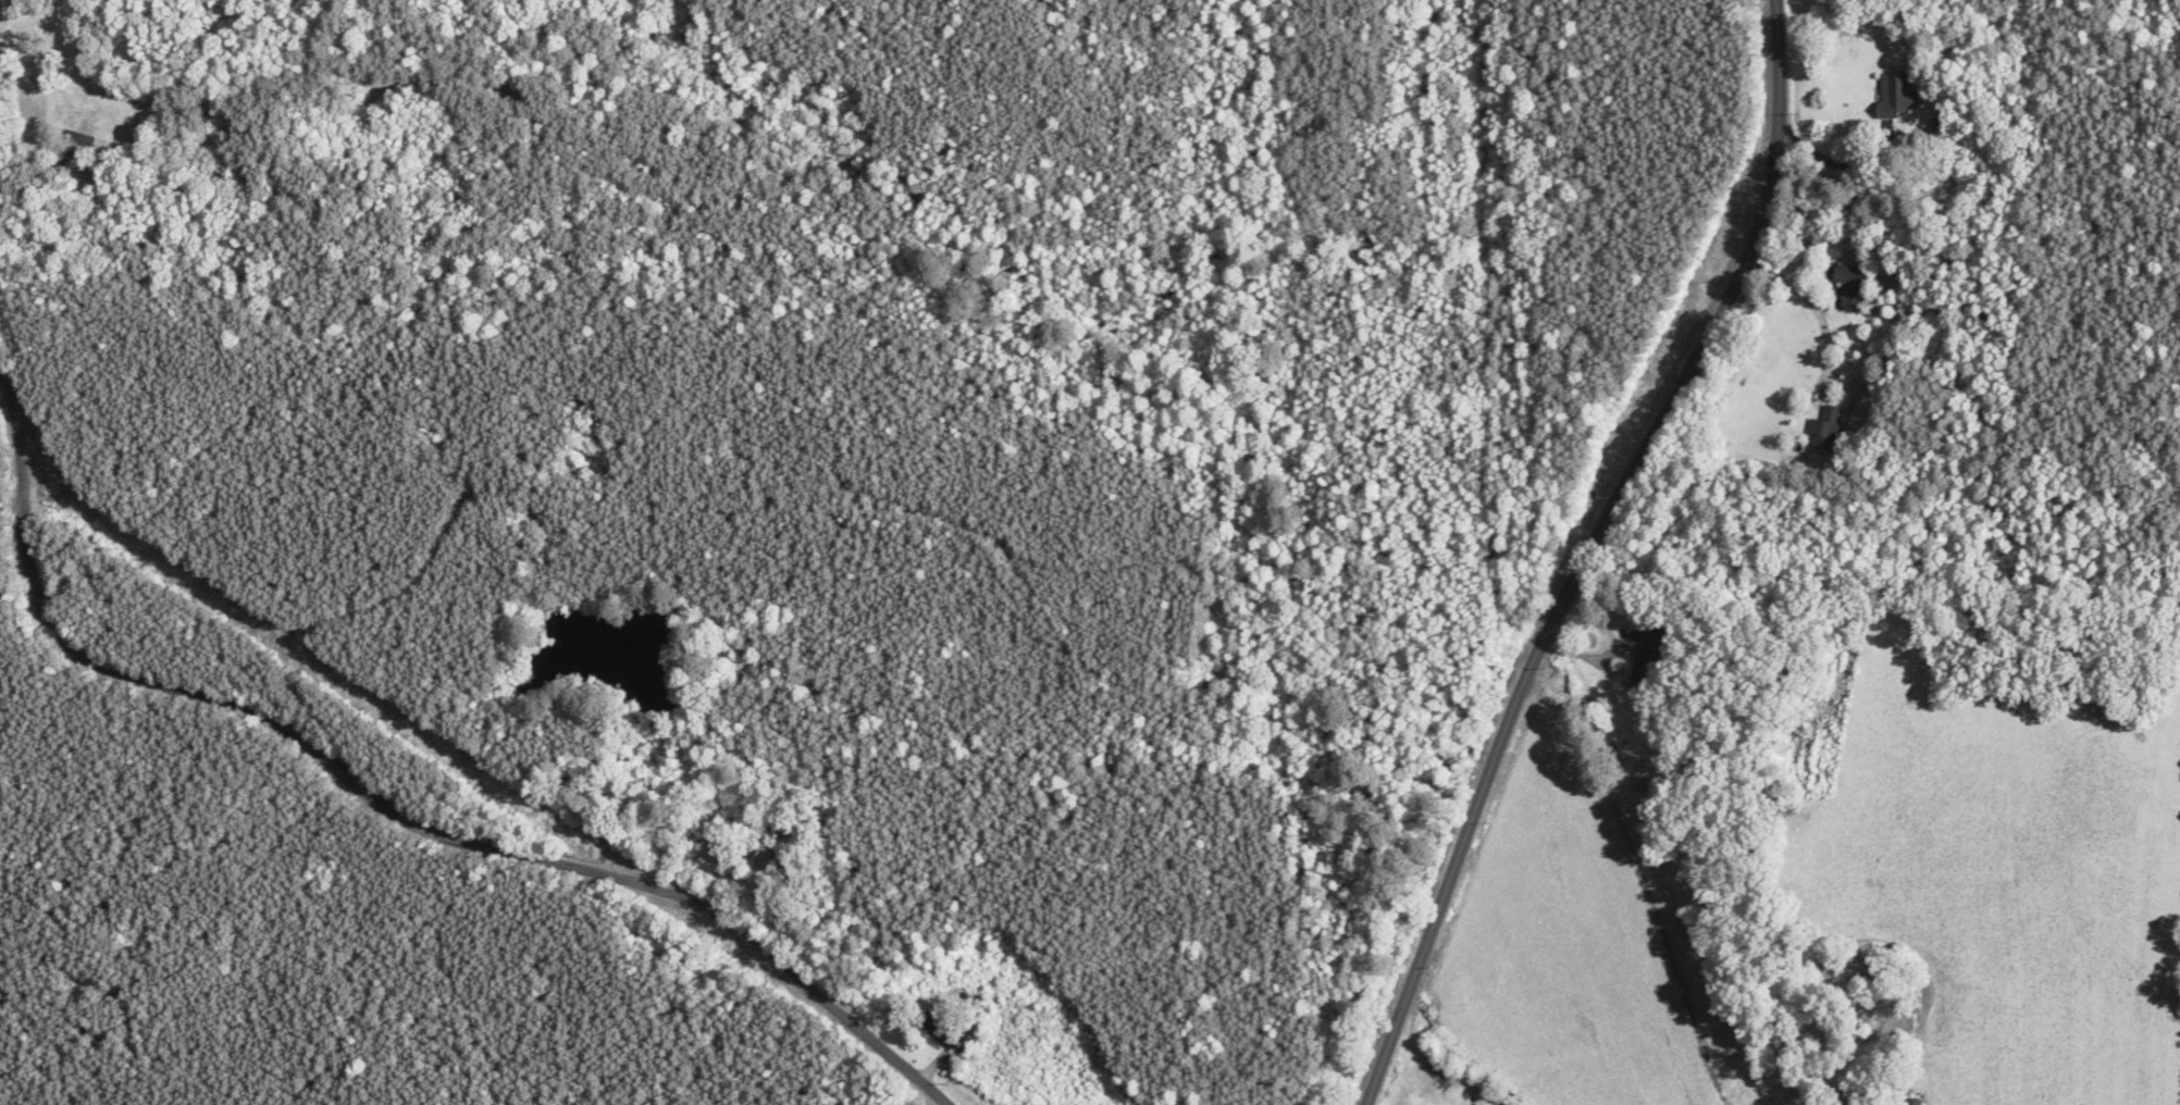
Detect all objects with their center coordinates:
building: (1895, 97)
building: (77, 147)
building: (1850, 288)
building: (1824, 431)
road: (1614, 563)
building: (1646, 659)
road: (349, 782)
building: (1644, 785)
building: (765, 858)

